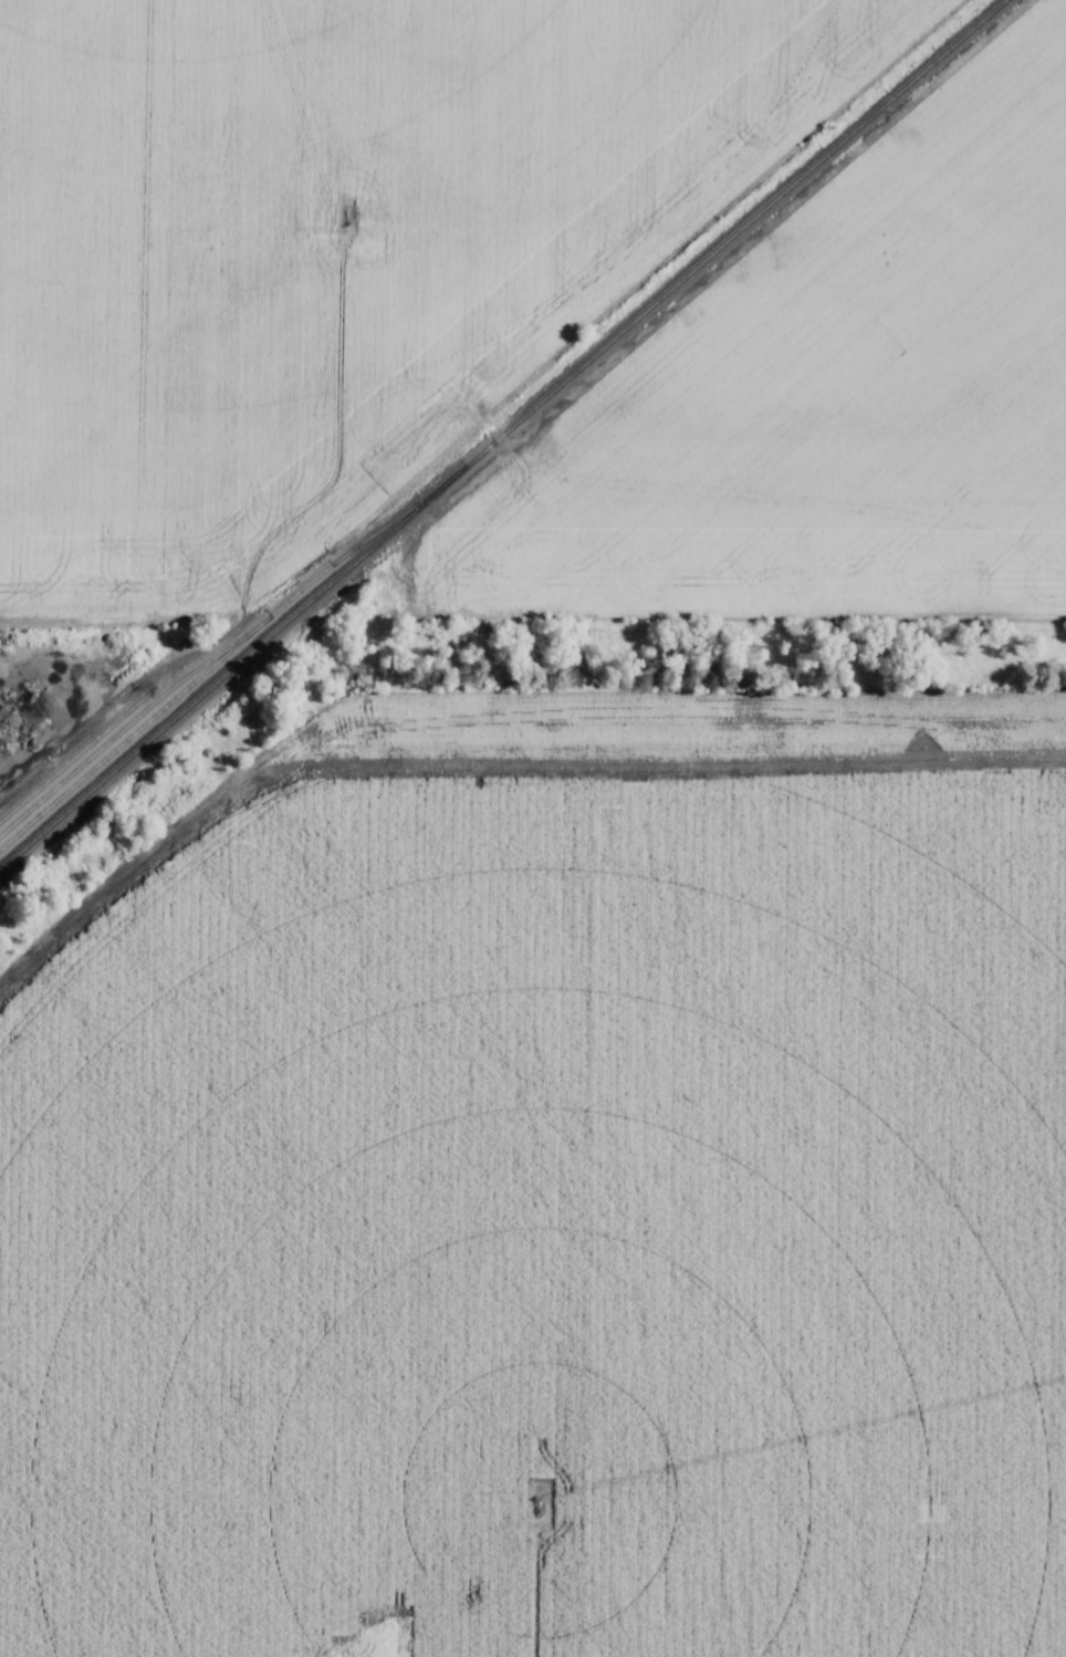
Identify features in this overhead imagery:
crop: (330, 247)
crop: (825, 402)
railway: (498, 433)
railway: (202, 673)
railway: (124, 729)
railway: (76, 752)
crop: (552, 1192)

